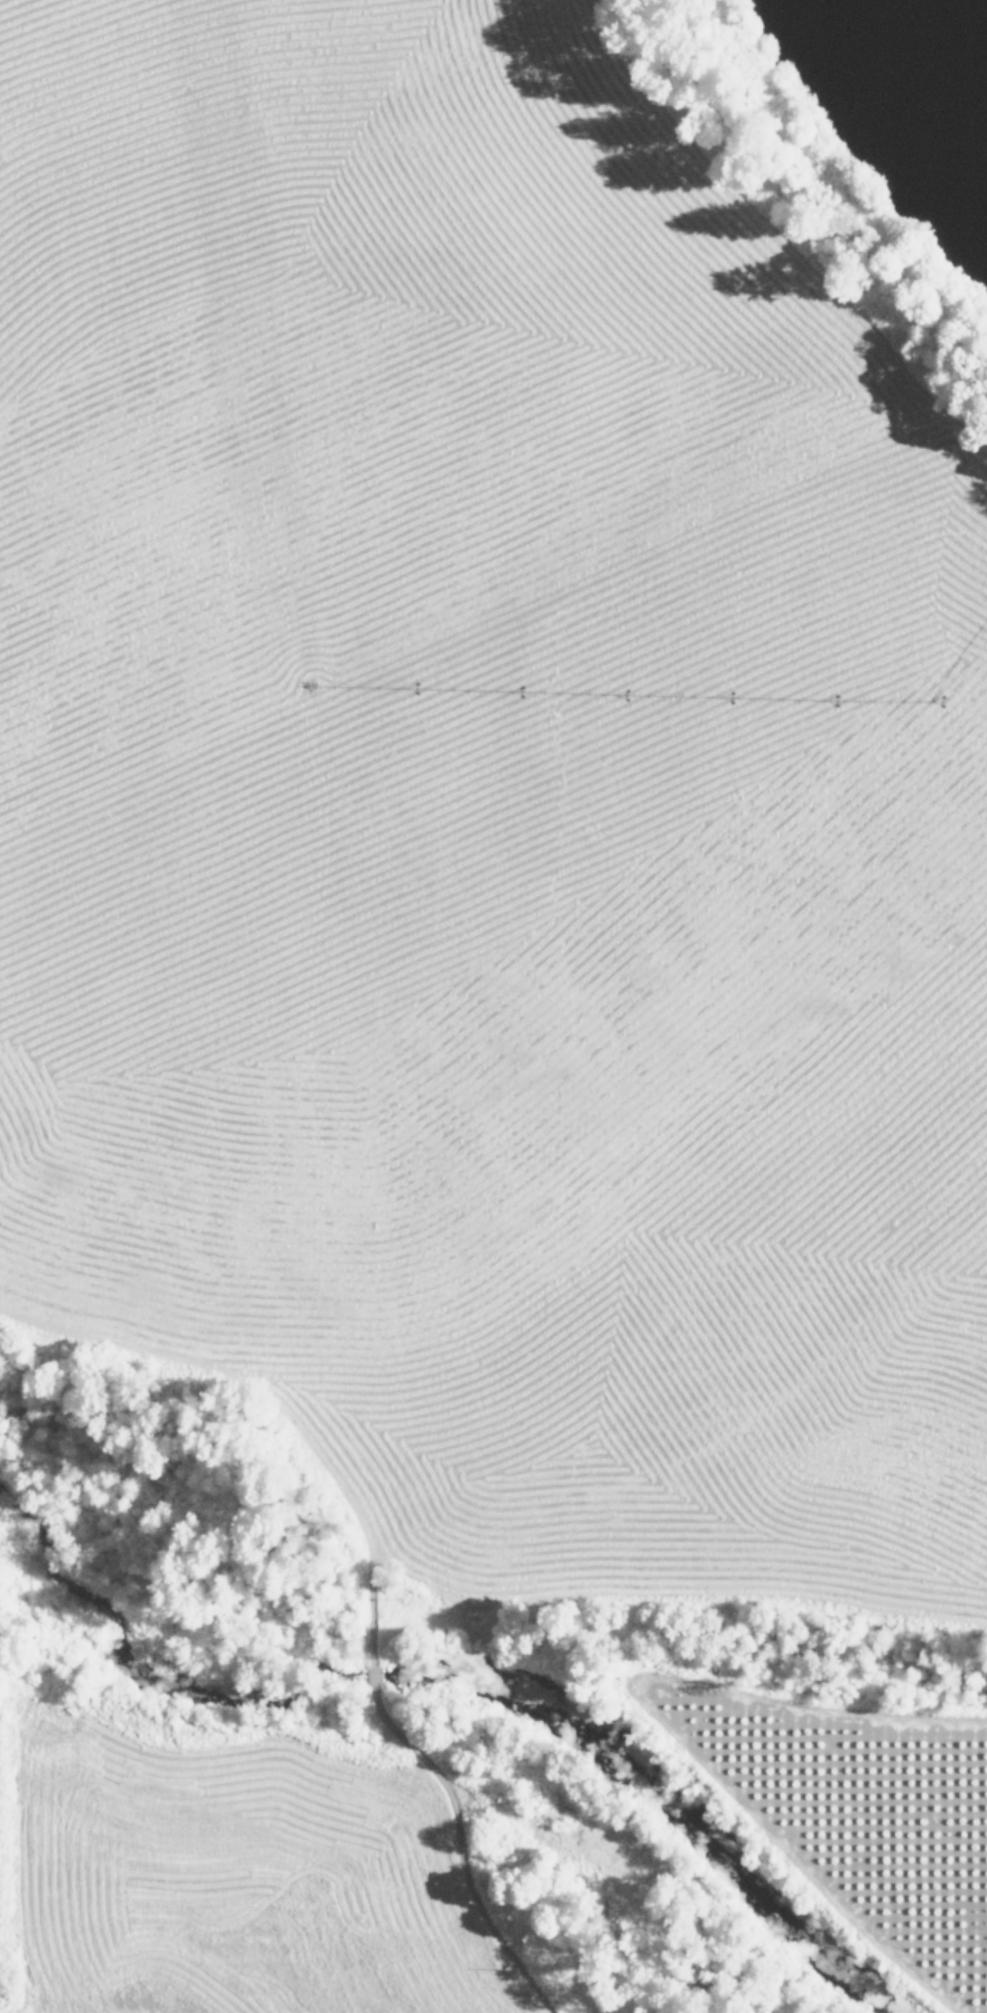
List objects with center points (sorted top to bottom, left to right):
river: (938, 65)
road: (491, 1241)
crop: (851, 1788)
crop: (226, 1869)

